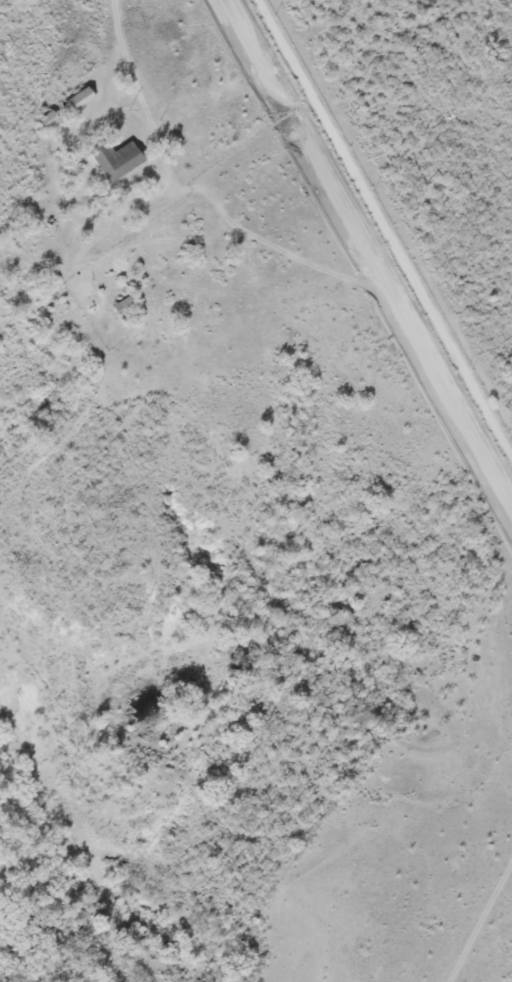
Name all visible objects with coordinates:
road: (125, 73)
building: (117, 160)
road: (388, 220)

